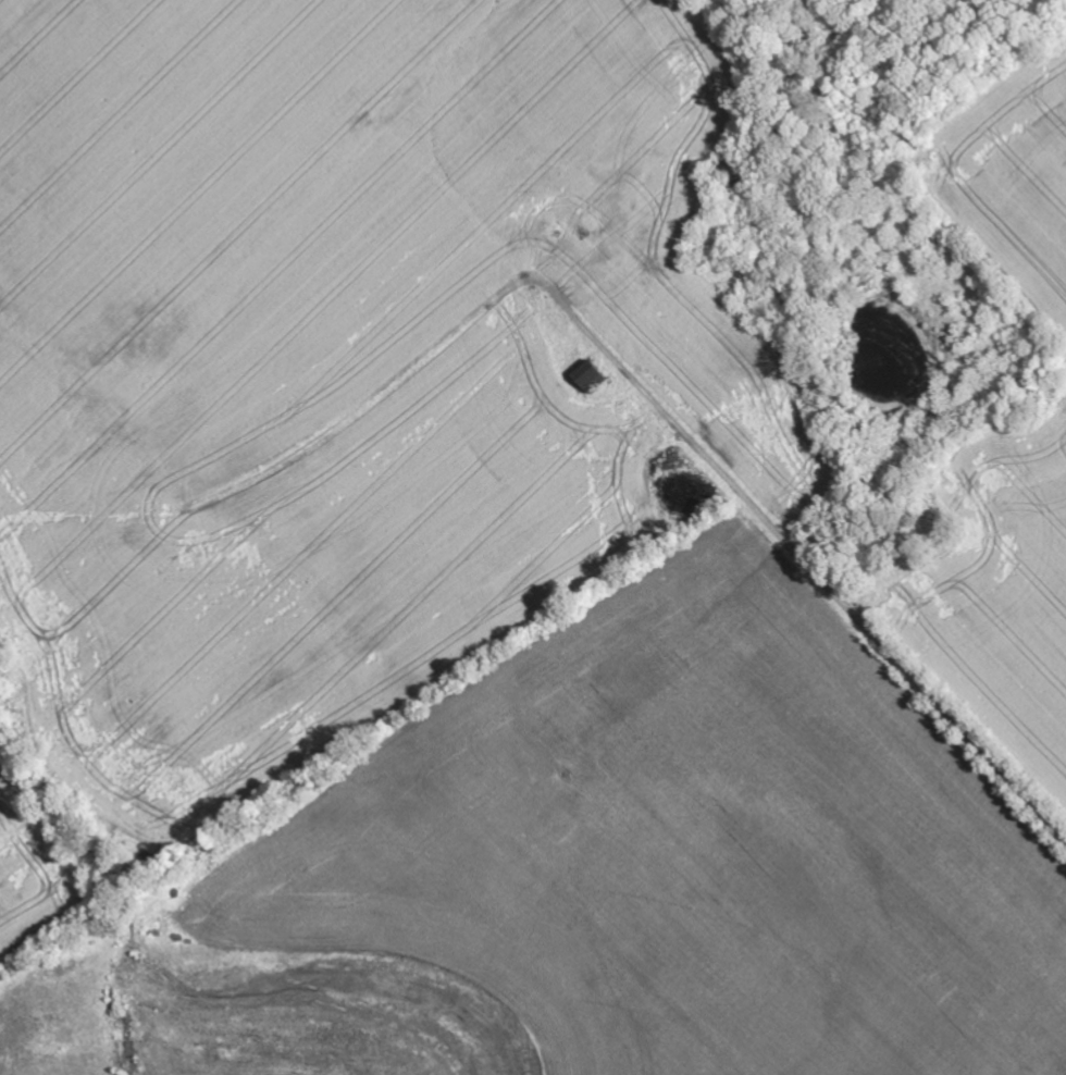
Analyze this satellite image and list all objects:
building: (590, 379)
road: (798, 564)
road: (1046, 827)

